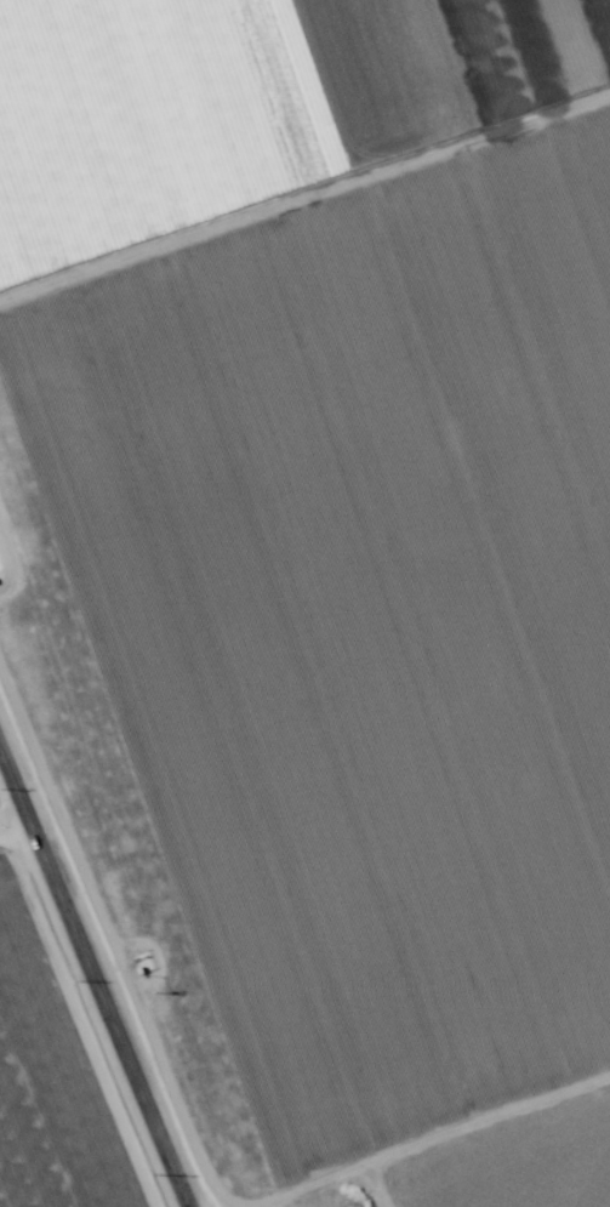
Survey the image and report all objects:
crop: (304, 603)
road: (10, 813)
road: (95, 983)
road: (434, 1145)

